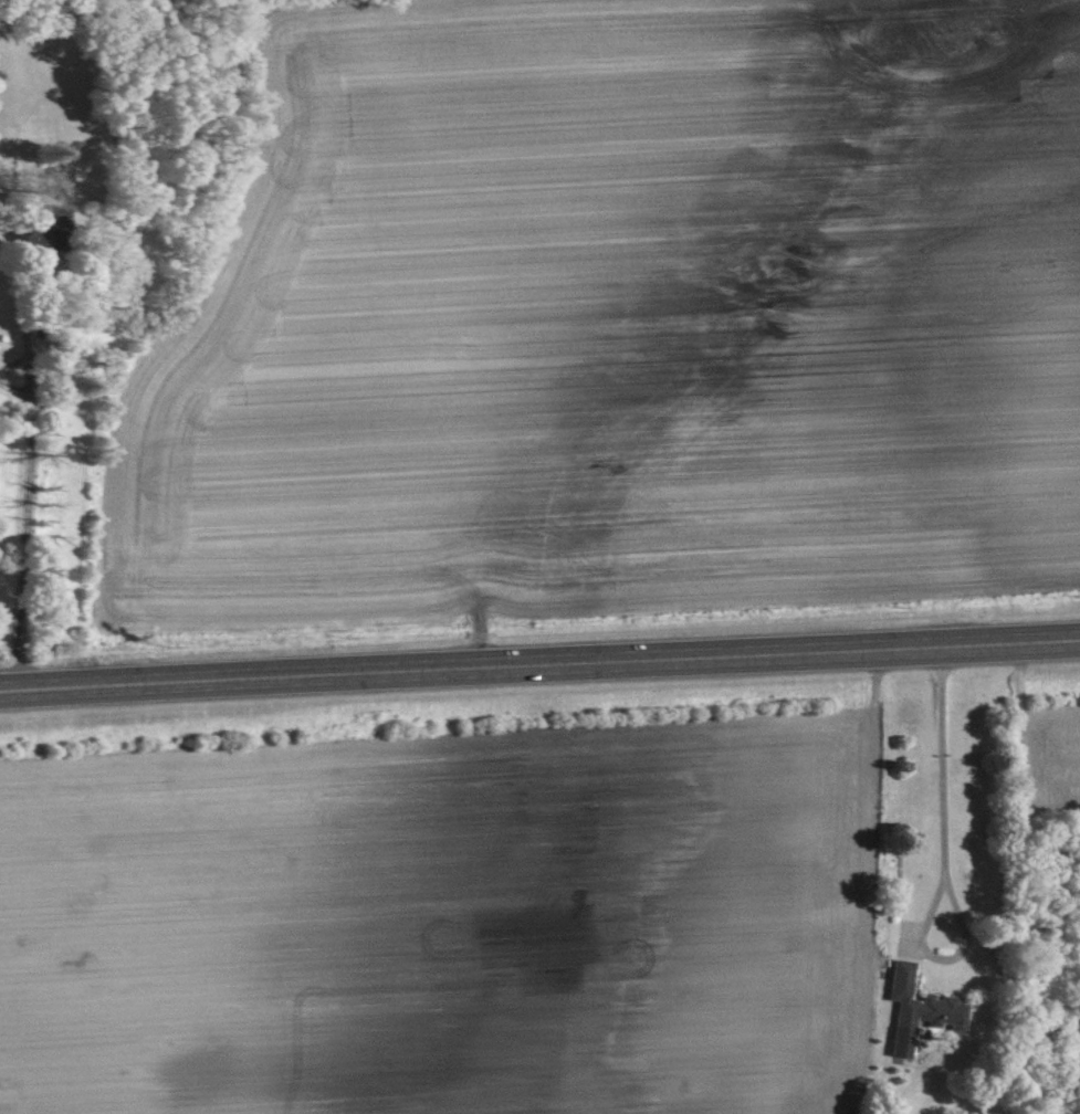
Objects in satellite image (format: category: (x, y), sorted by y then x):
building: (39, 231)
road: (12, 545)
road: (539, 662)
road: (947, 771)
building: (915, 1008)

